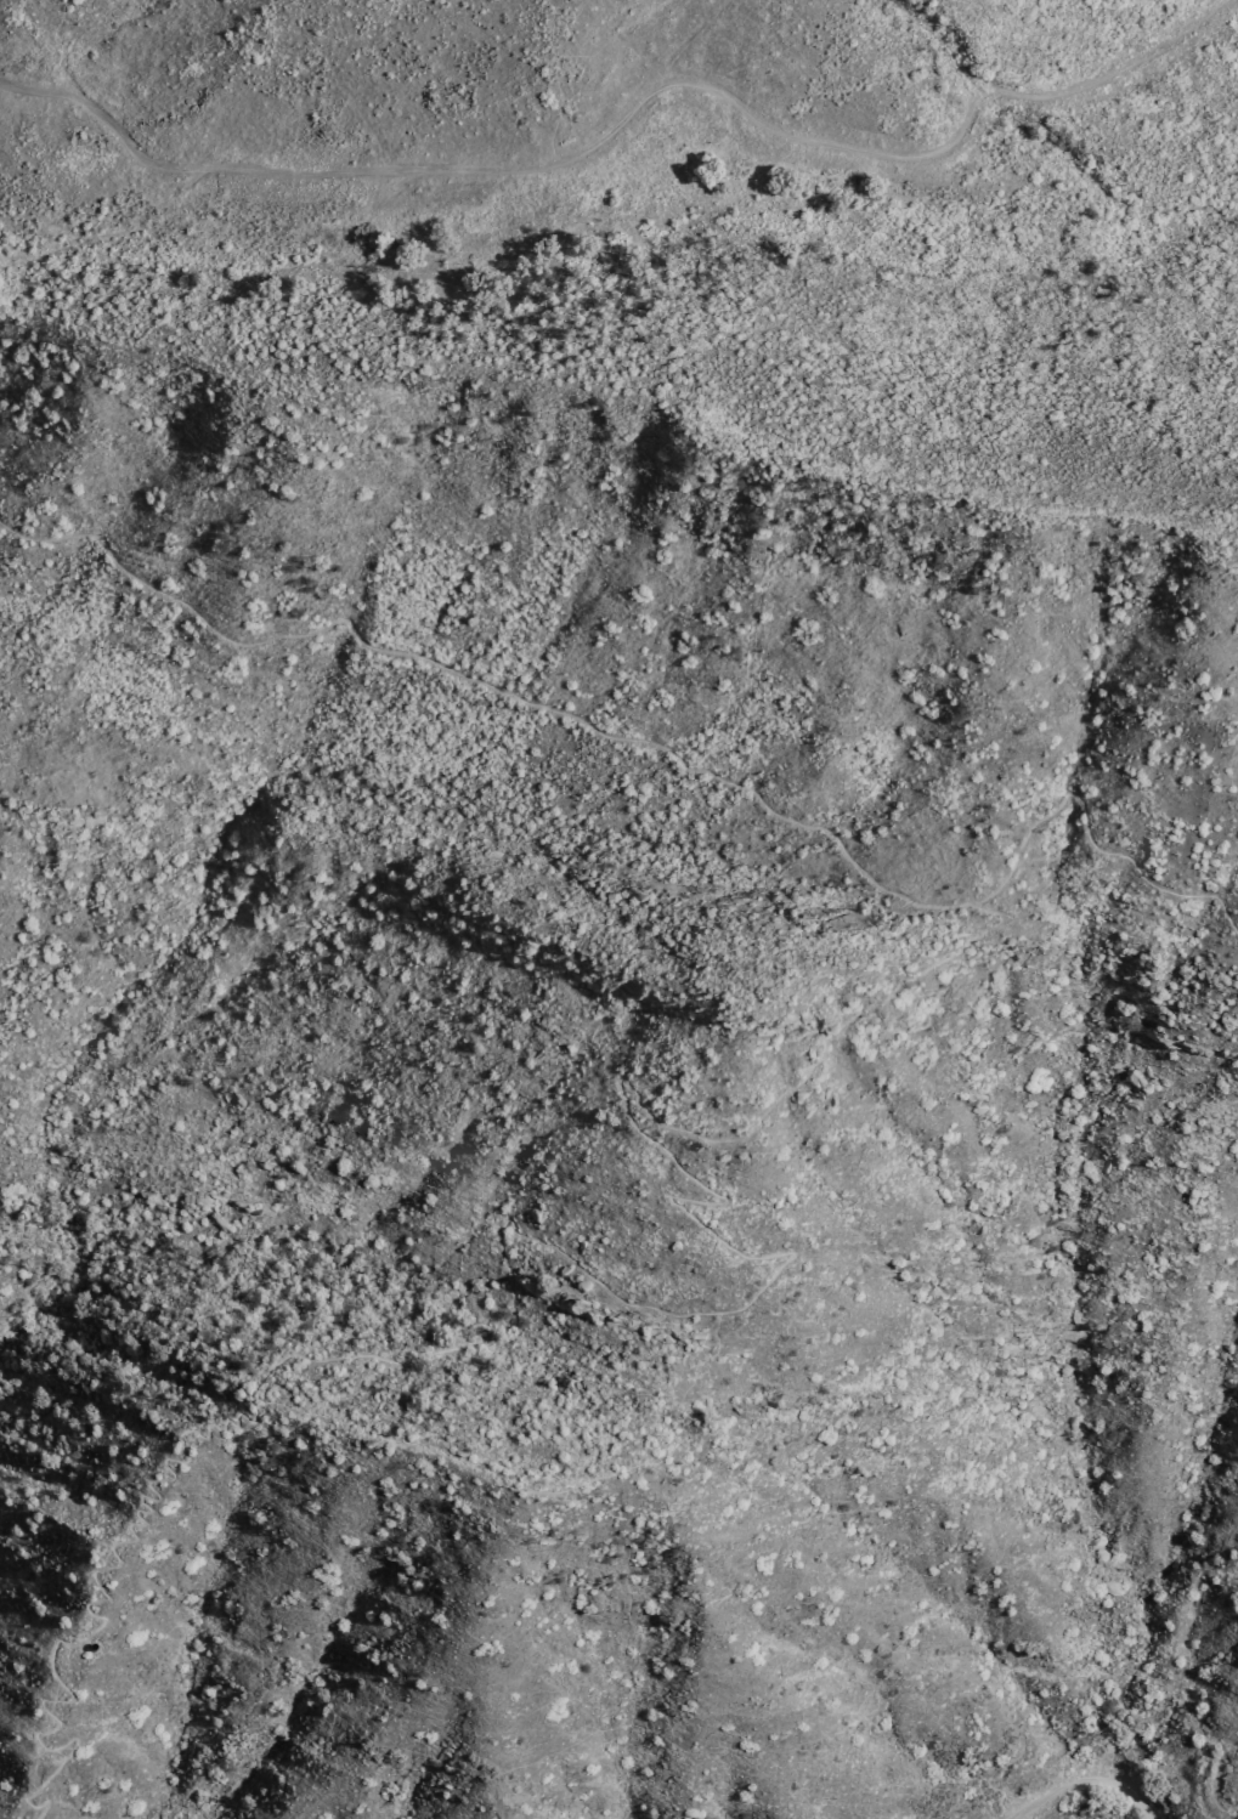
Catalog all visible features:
road: (623, 102)
road: (672, 749)
road: (503, 1237)
road: (1136, 1665)
road: (997, 1776)
road: (1085, 1783)
road: (183, 1807)

